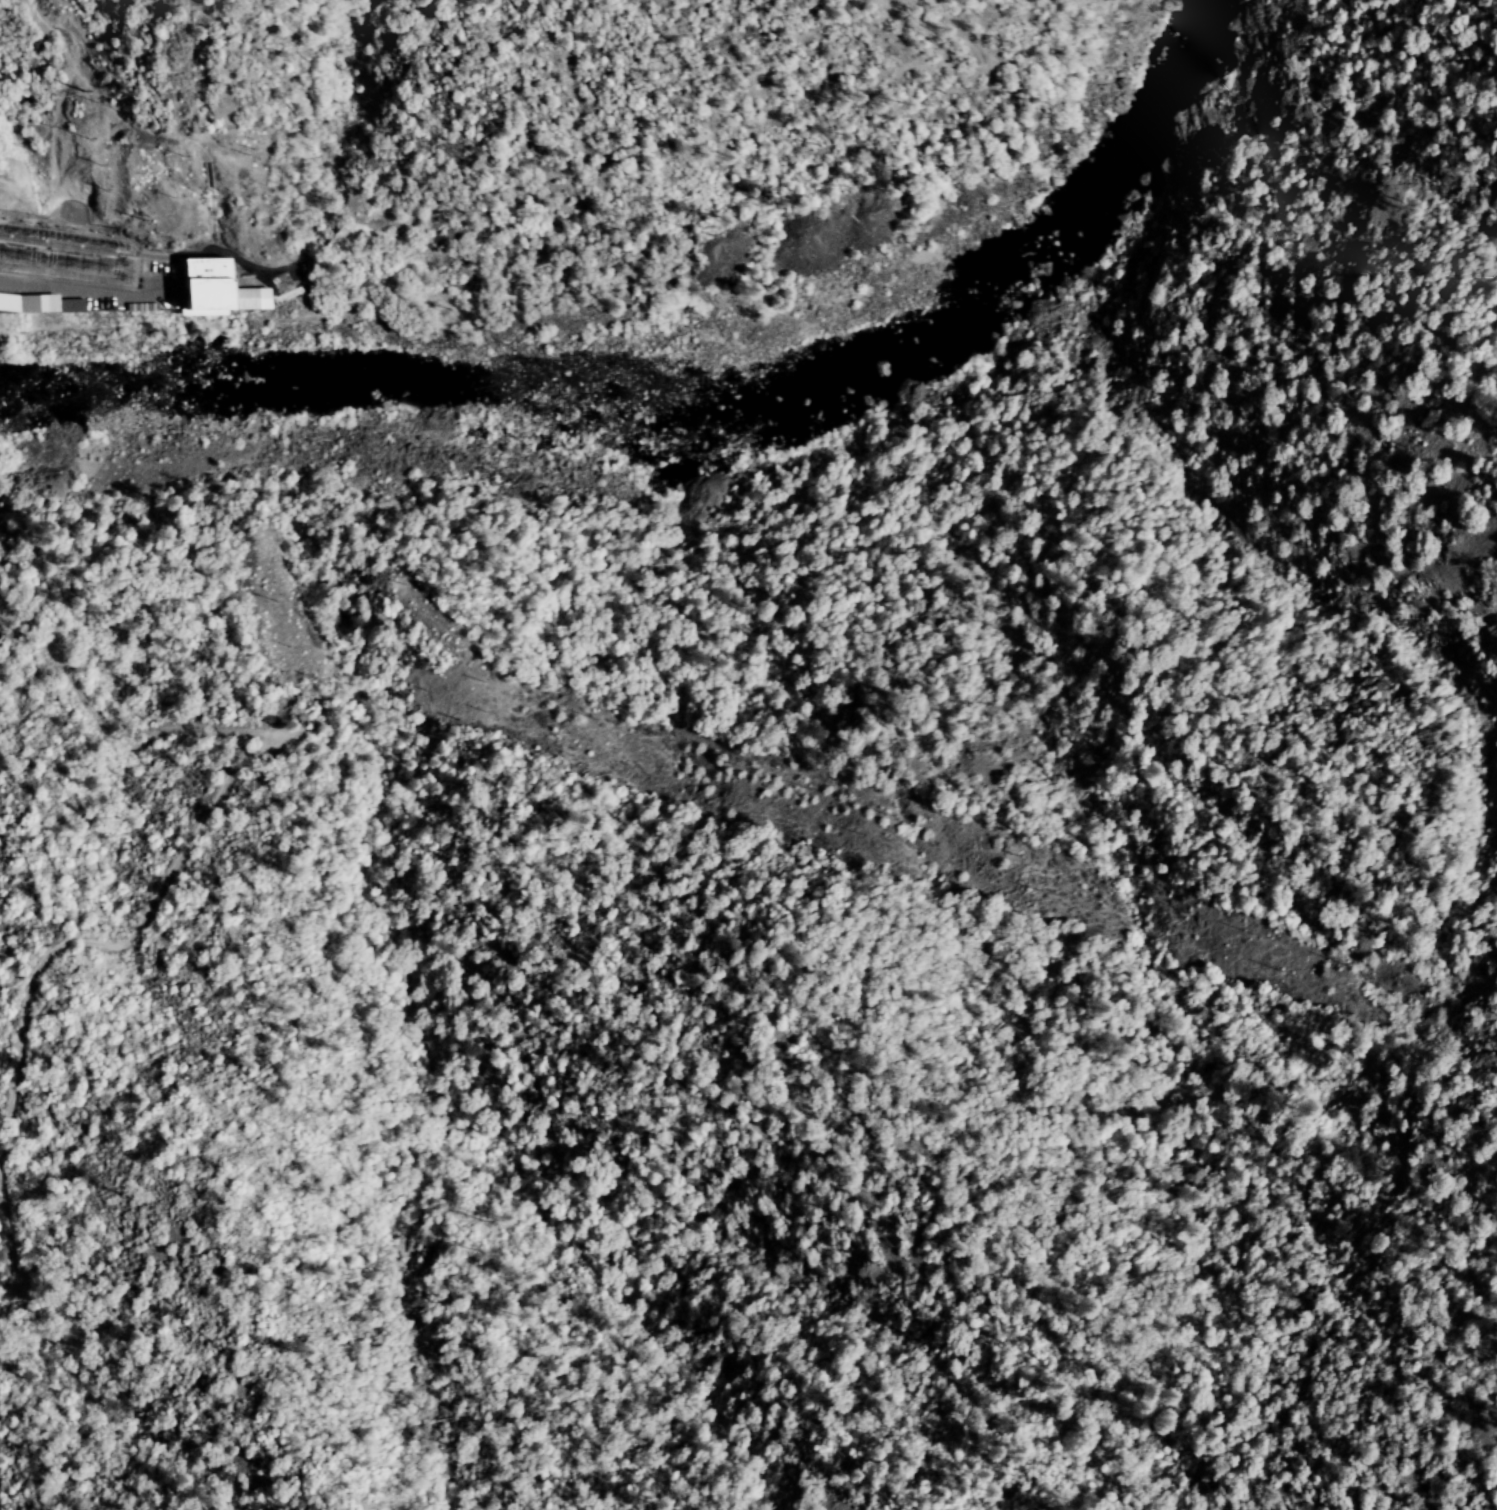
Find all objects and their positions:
river: (1146, 132)
road: (230, 149)
power substation: (69, 250)
building: (196, 285)
road: (76, 289)
building: (41, 305)
river: (544, 389)
power tower: (239, 534)
road: (1455, 1394)
road: (1480, 1506)

